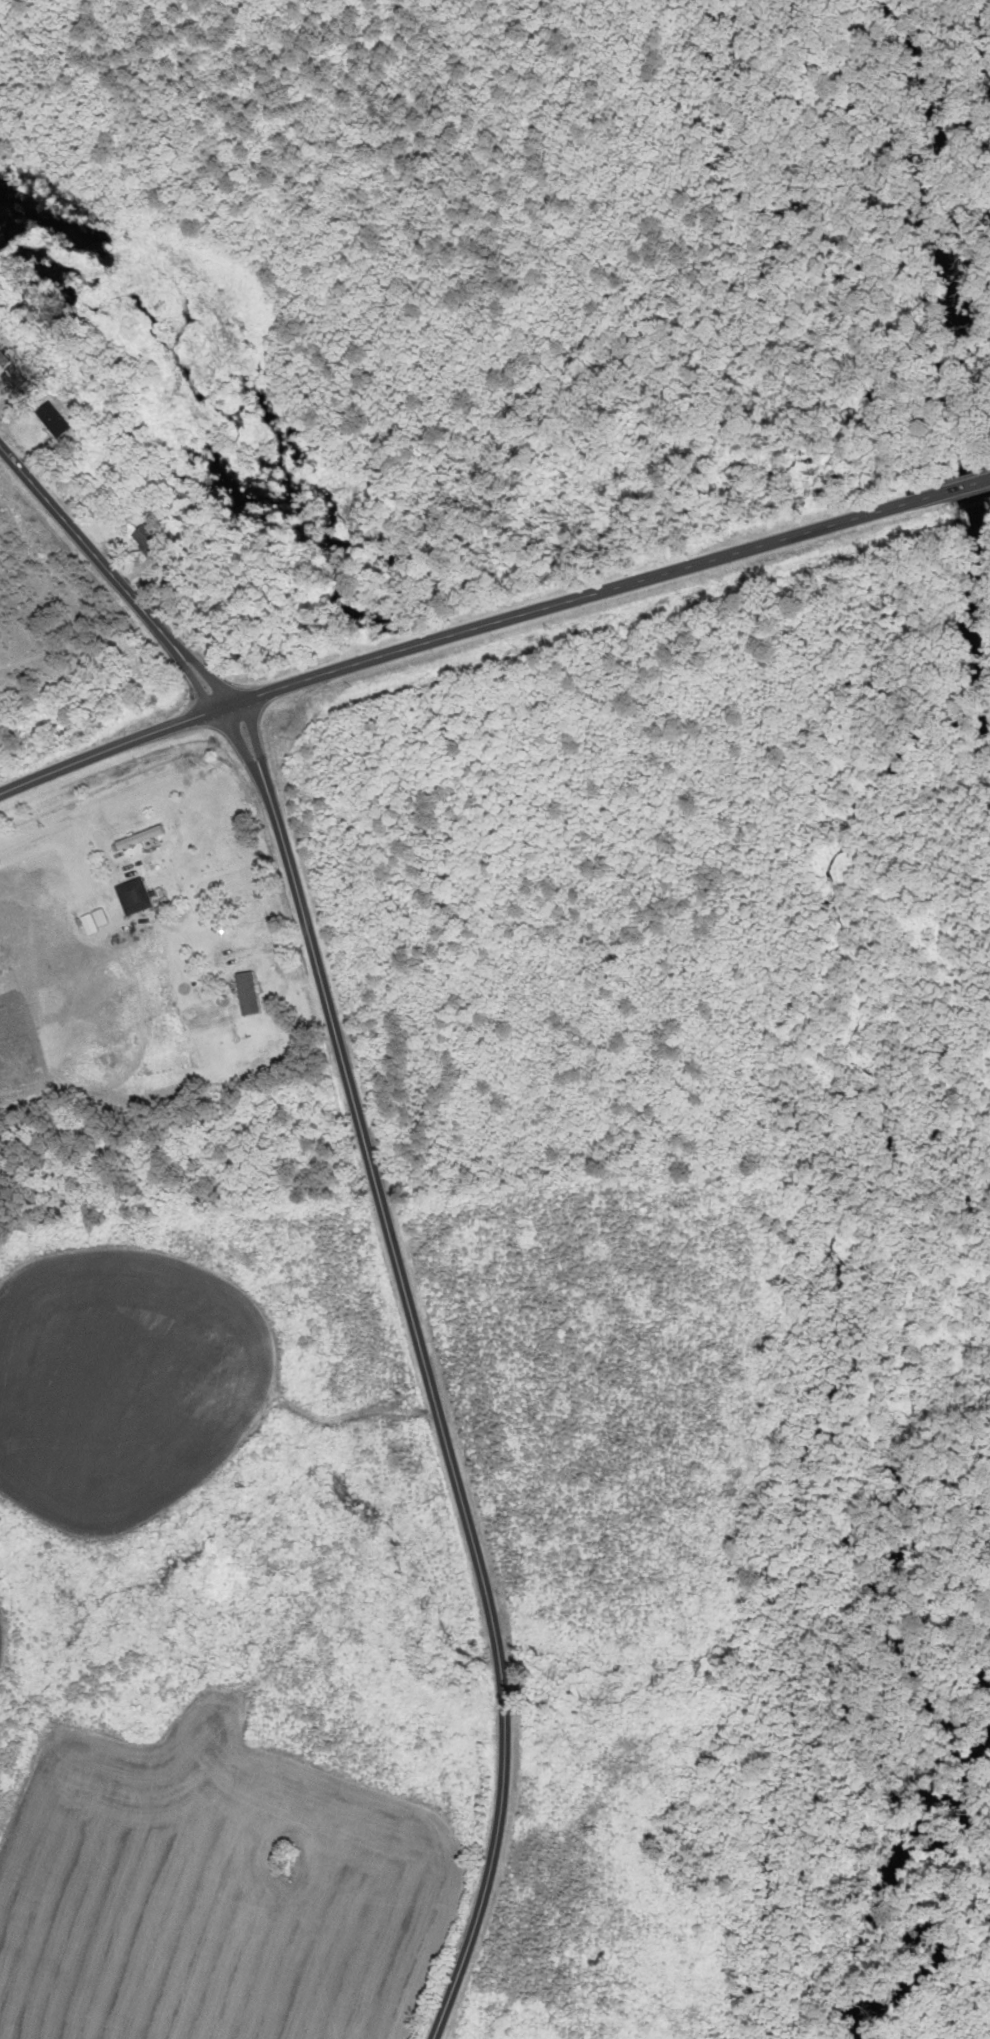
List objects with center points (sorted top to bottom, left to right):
building: (8, 376)
building: (50, 422)
road: (968, 485)
building: (144, 540)
road: (471, 638)
building: (138, 839)
building: (132, 898)
building: (245, 993)
road: (384, 1192)

